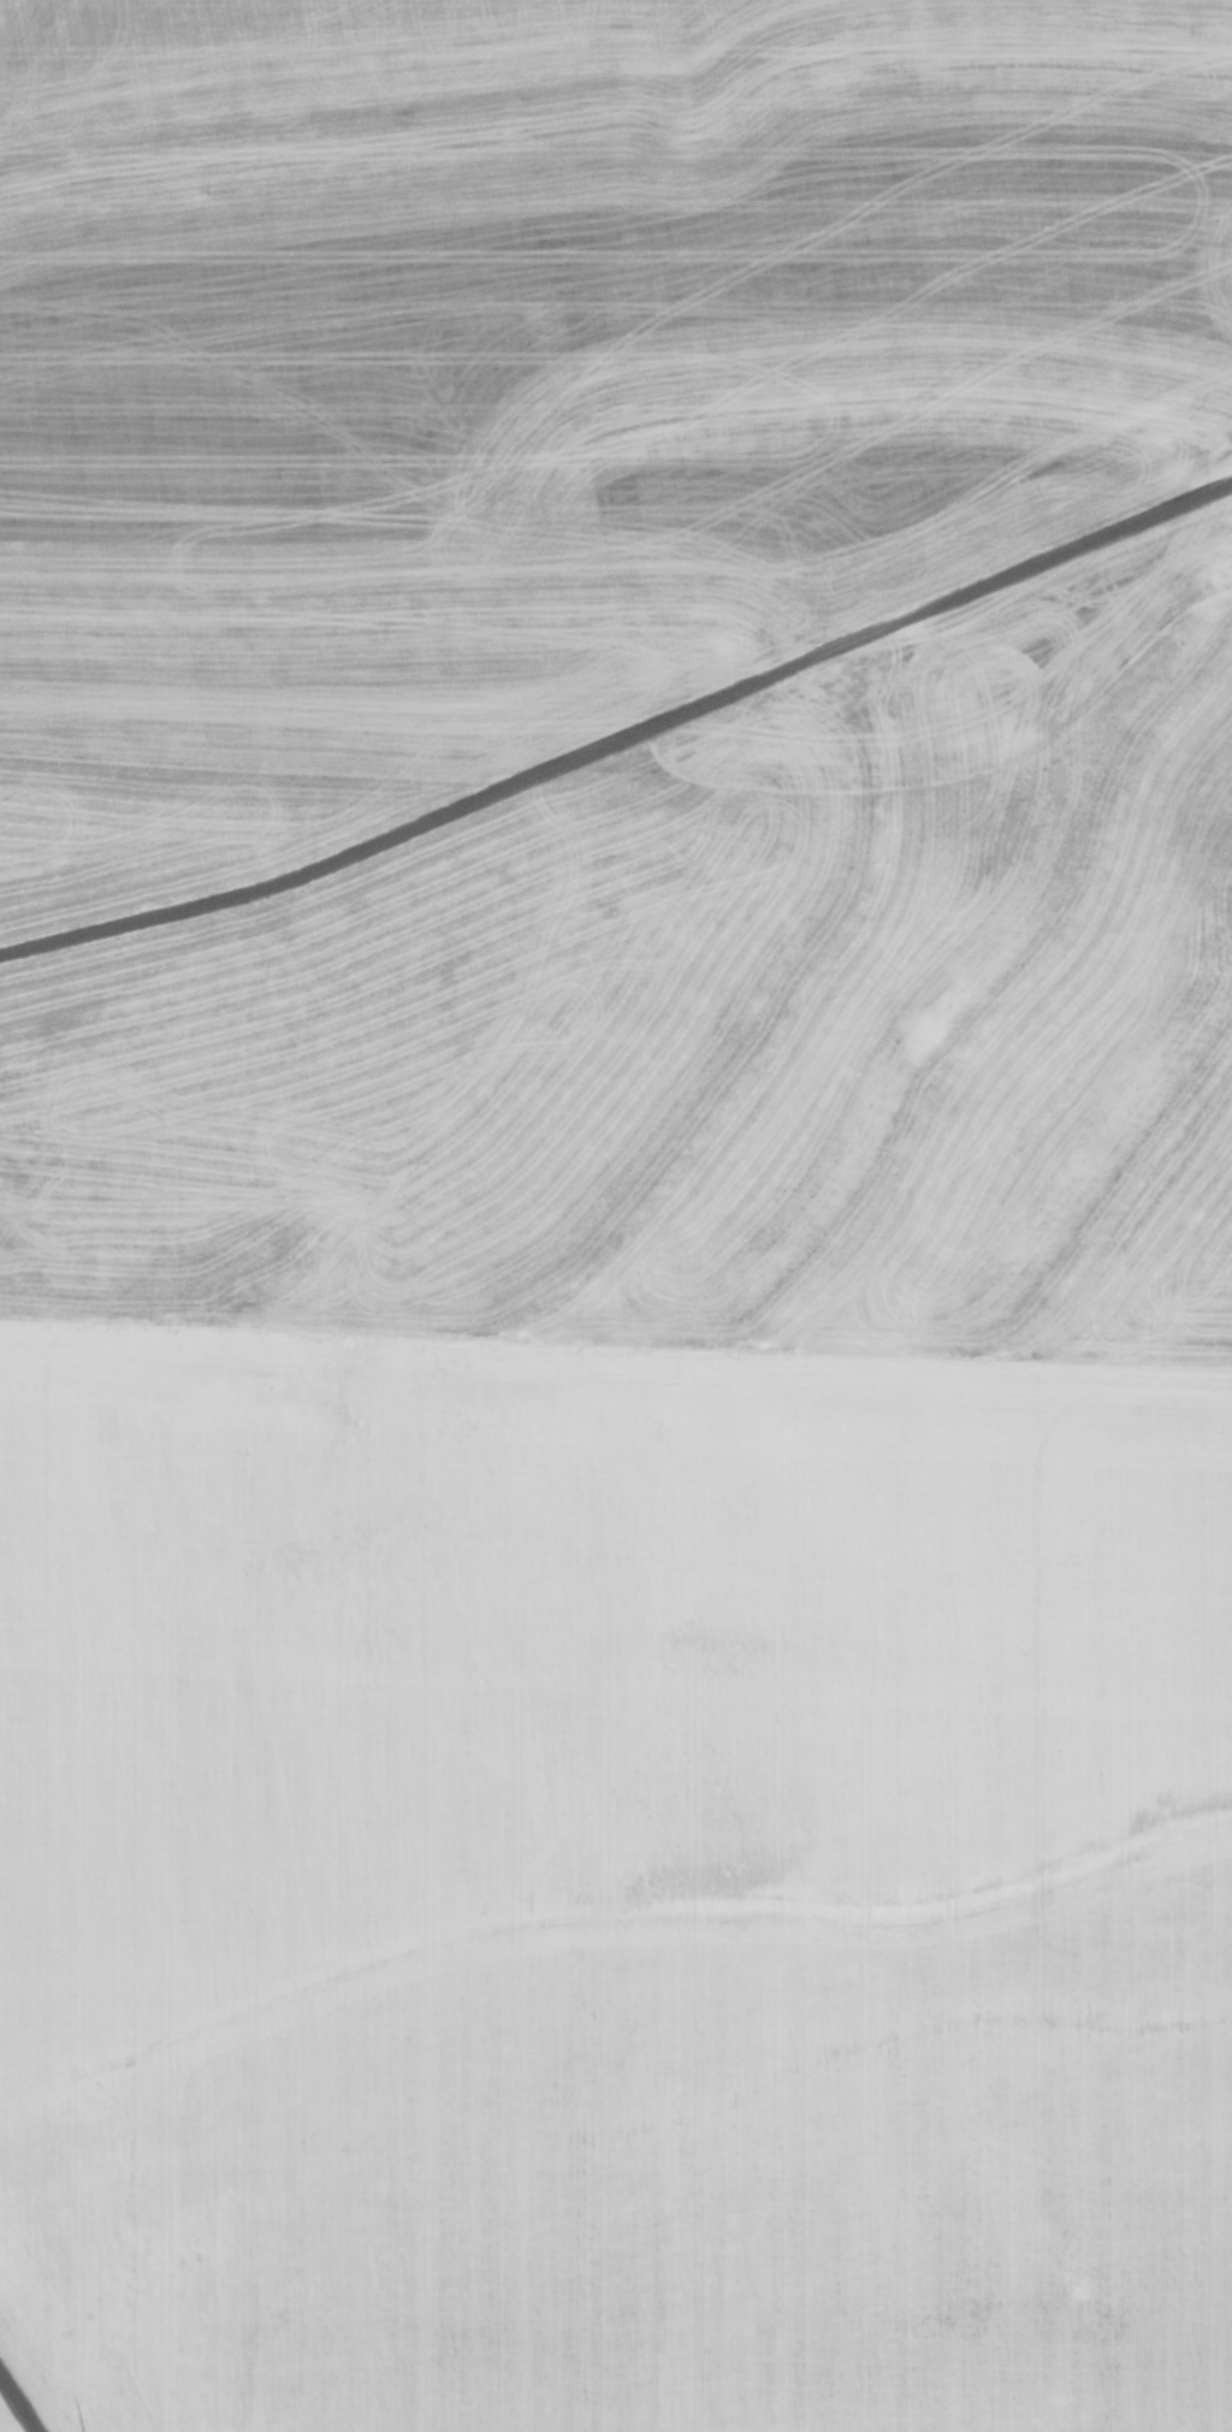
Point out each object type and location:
road: (20, 2398)

